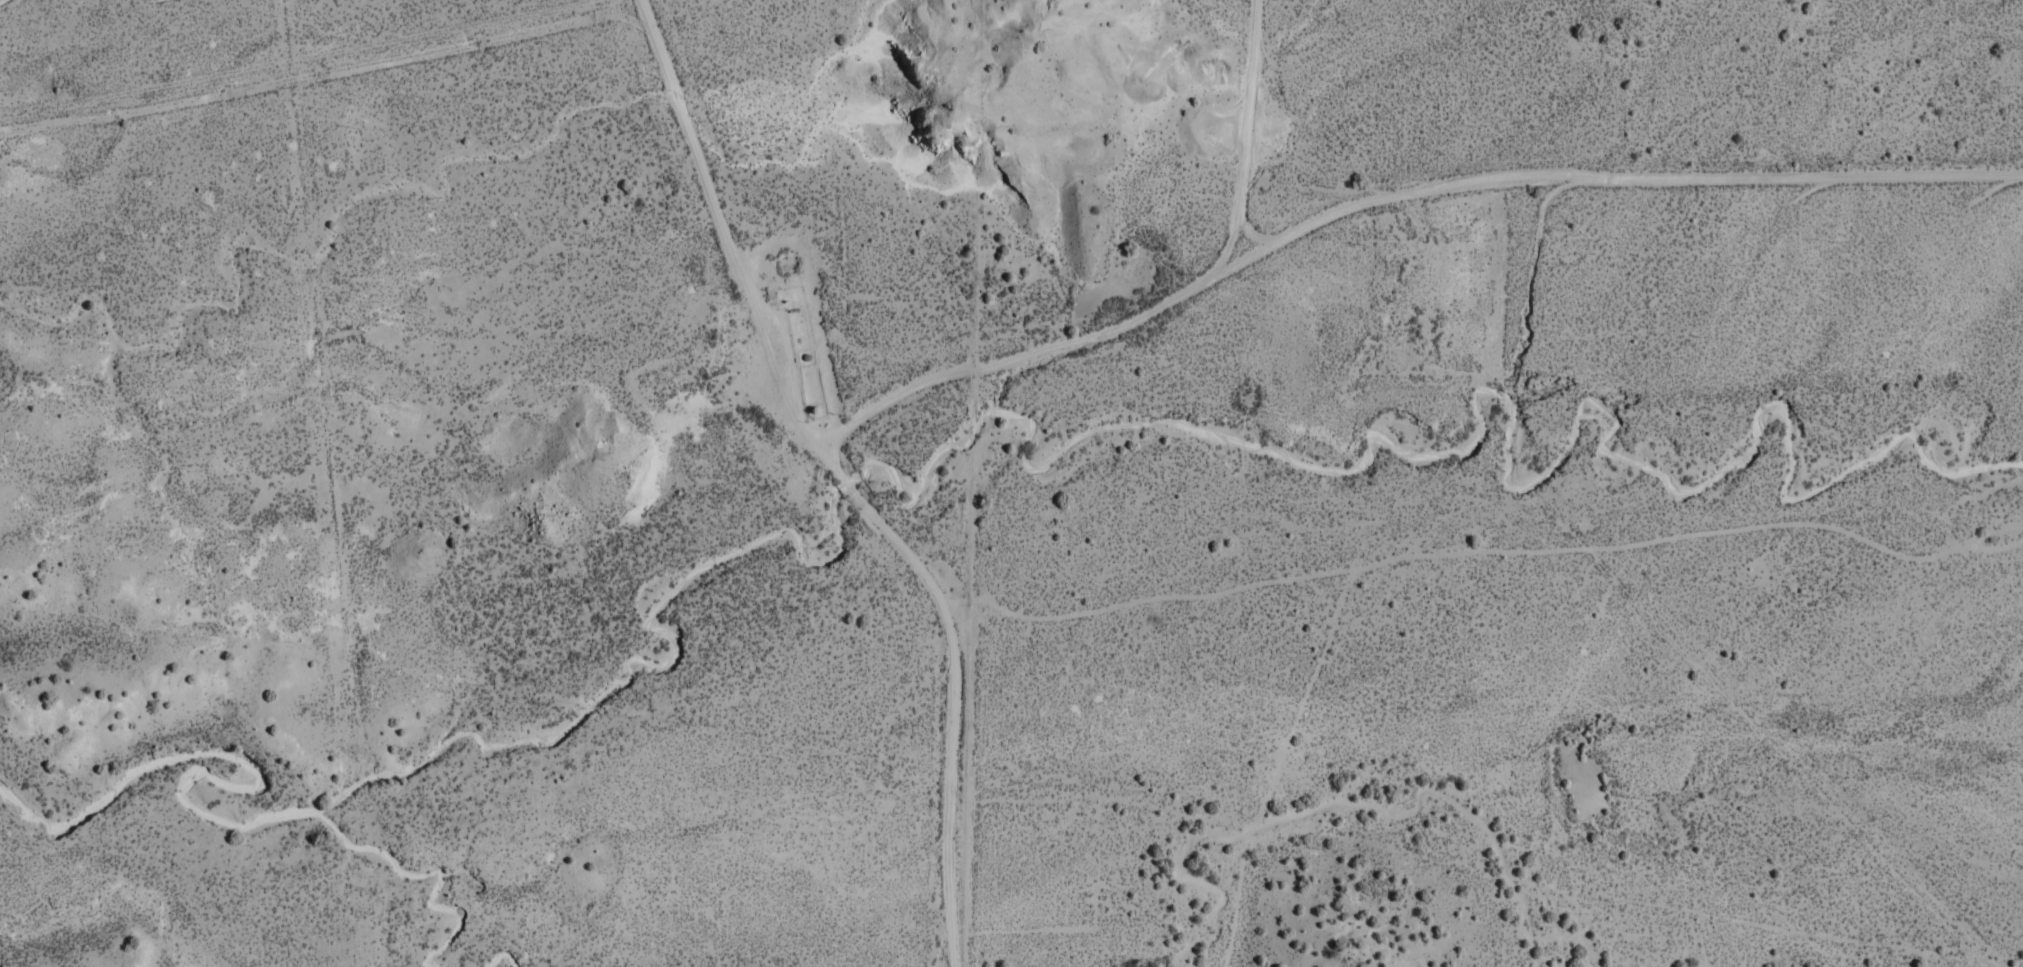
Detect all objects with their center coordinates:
road: (2004, 199)
road: (899, 475)
river: (253, 809)
river: (1359, 812)

